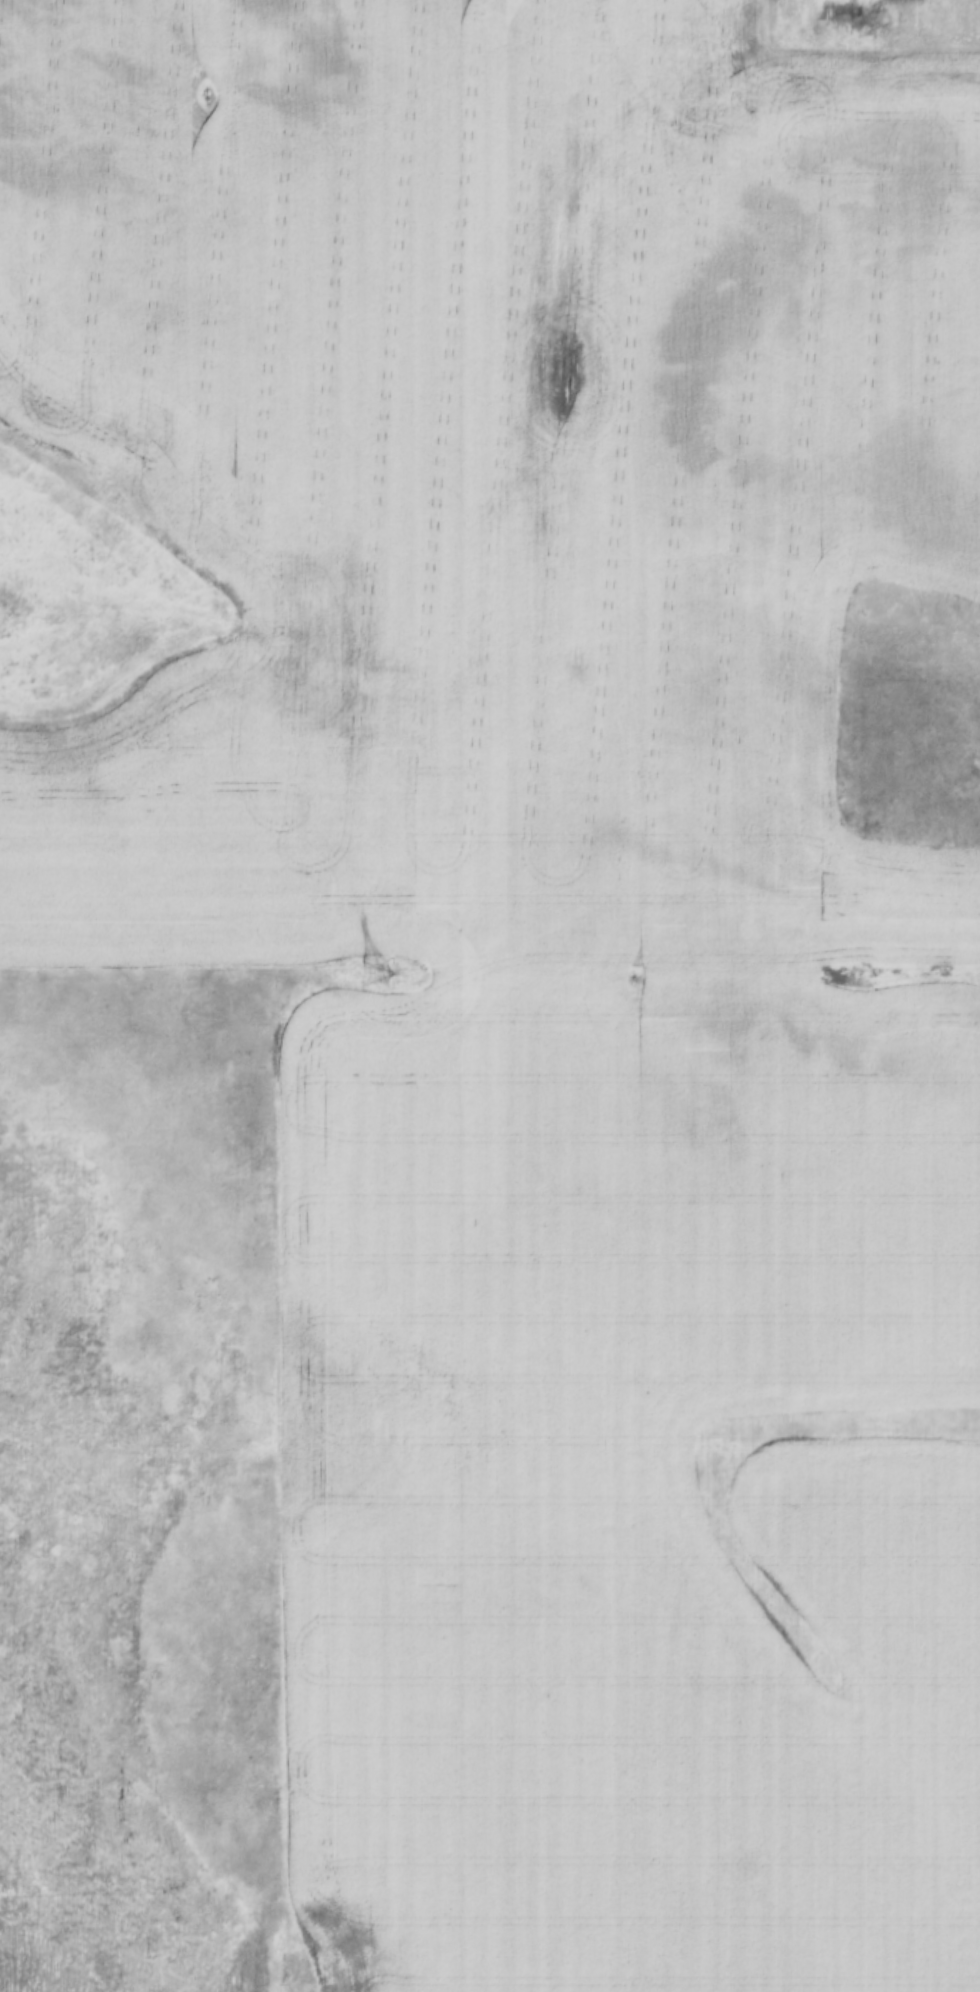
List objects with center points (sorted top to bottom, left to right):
power tower: (375, 971)
building: (419, 1425)

